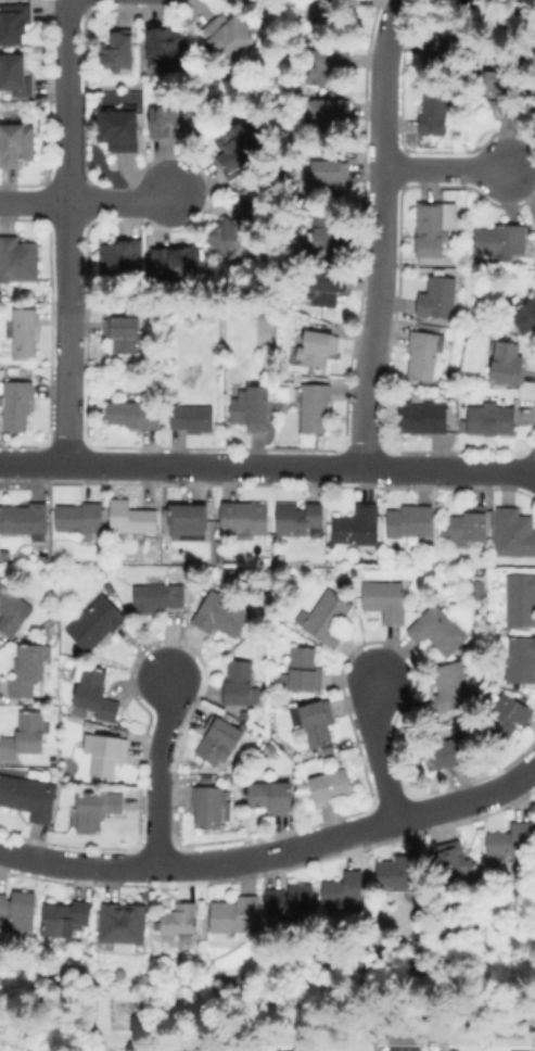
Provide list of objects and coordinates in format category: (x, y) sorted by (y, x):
building: (305, 4)
building: (526, 4)
building: (330, 16)
building: (14, 23)
building: (229, 38)
building: (534, 39)
building: (438, 46)
building: (118, 51)
building: (161, 53)
building: (329, 66)
building: (15, 76)
building: (504, 91)
building: (534, 107)
building: (433, 109)
building: (326, 114)
building: (175, 121)
building: (119, 129)
building: (17, 143)
building: (239, 151)
road: (447, 166)
building: (324, 179)
road: (33, 203)
road: (123, 203)
road: (66, 230)
road: (380, 230)
building: (431, 230)
building: (329, 231)
building: (232, 236)
building: (501, 240)
building: (123, 261)
building: (18, 263)
building: (177, 266)
building: (328, 287)
building: (438, 297)
building: (524, 315)
building: (433, 328)
building: (25, 333)
building: (125, 333)
building: (318, 347)
building: (423, 355)
building: (507, 362)
building: (13, 370)
building: (16, 404)
building: (315, 407)
building: (454, 411)
building: (251, 413)
building: (133, 415)
building: (193, 418)
building: (422, 418)
building: (492, 420)
road: (266, 463)
road: (534, 469)
road: (534, 472)
building: (189, 517)
building: (24, 518)
building: (80, 518)
building: (131, 518)
building: (245, 518)
building: (298, 519)
building: (410, 521)
building: (471, 524)
building: (357, 527)
building: (514, 533)
building: (3, 554)
building: (220, 558)
building: (280, 559)
building: (267, 571)
rooftop solar panel: (151, 580)
building: (475, 591)
building: (157, 597)
building: (384, 599)
building: (521, 599)
building: (12, 610)
building: (221, 615)
building: (327, 619)
building: (97, 624)
building: (438, 631)
building: (521, 660)
building: (27, 670)
building: (304, 671)
building: (238, 683)
building: (453, 687)
building: (97, 694)
building: (245, 716)
building: (506, 719)
building: (318, 723)
building: (24, 735)
building: (219, 740)
road: (380, 747)
building: (446, 754)
building: (107, 757)
road: (157, 769)
building: (206, 777)
building: (332, 782)
building: (28, 797)
building: (271, 797)
road: (469, 797)
building: (208, 807)
building: (97, 810)
building: (512, 843)
road: (199, 862)
building: (454, 865)
building: (400, 874)
building: (344, 894)
building: (293, 903)
building: (20, 908)
building: (235, 915)
building: (65, 917)
building: (179, 923)
building: (124, 927)
building: (281, 1050)
building: (398, 1050)

